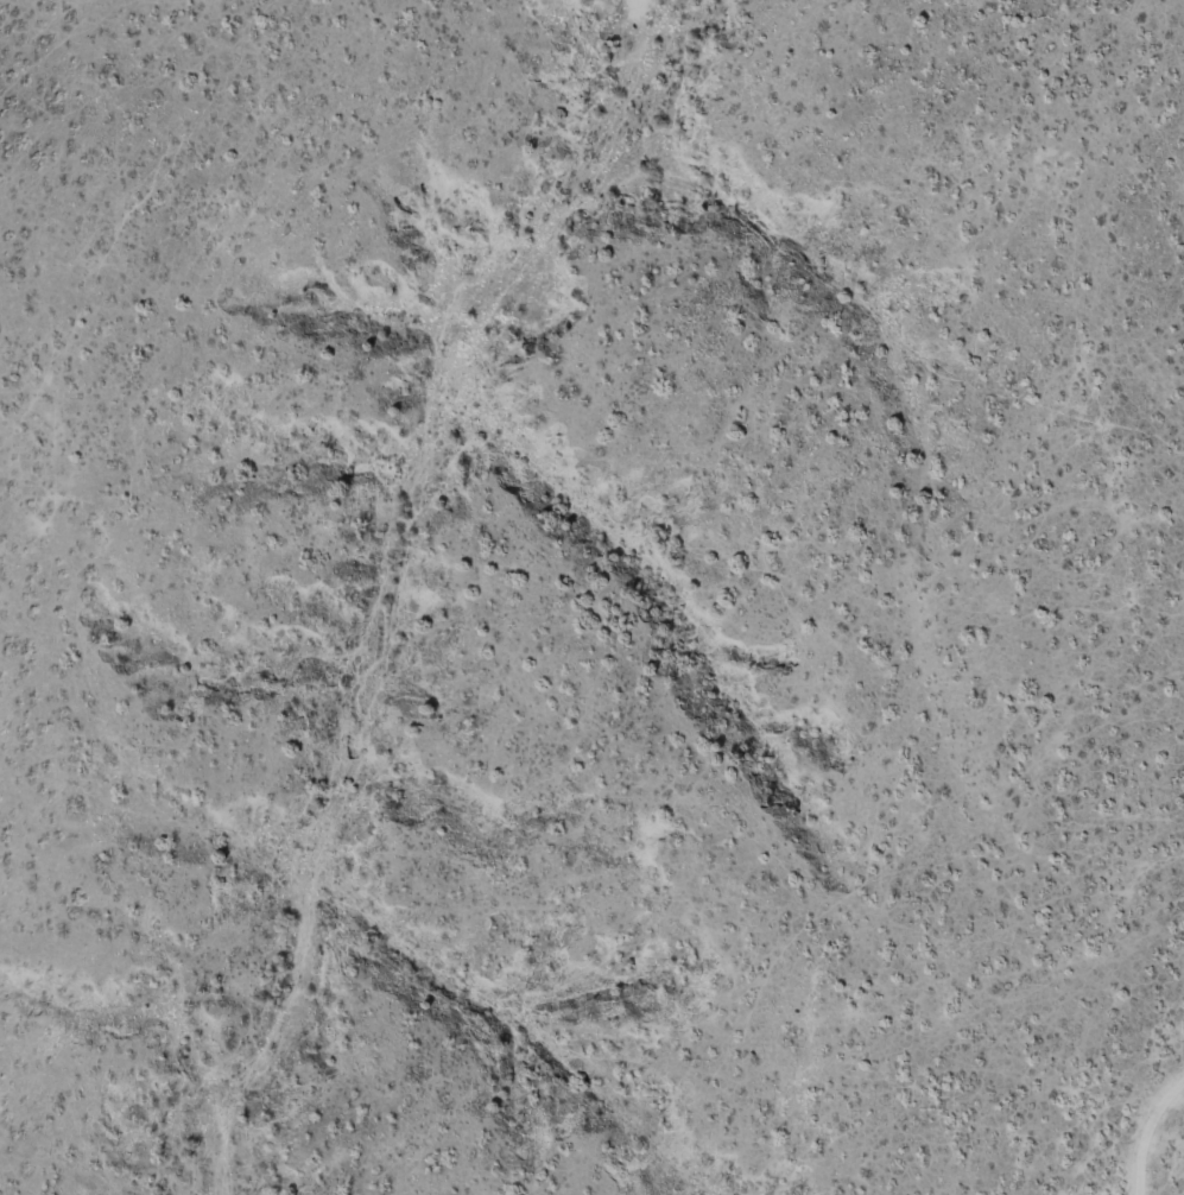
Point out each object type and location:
road: (1183, 1194)

